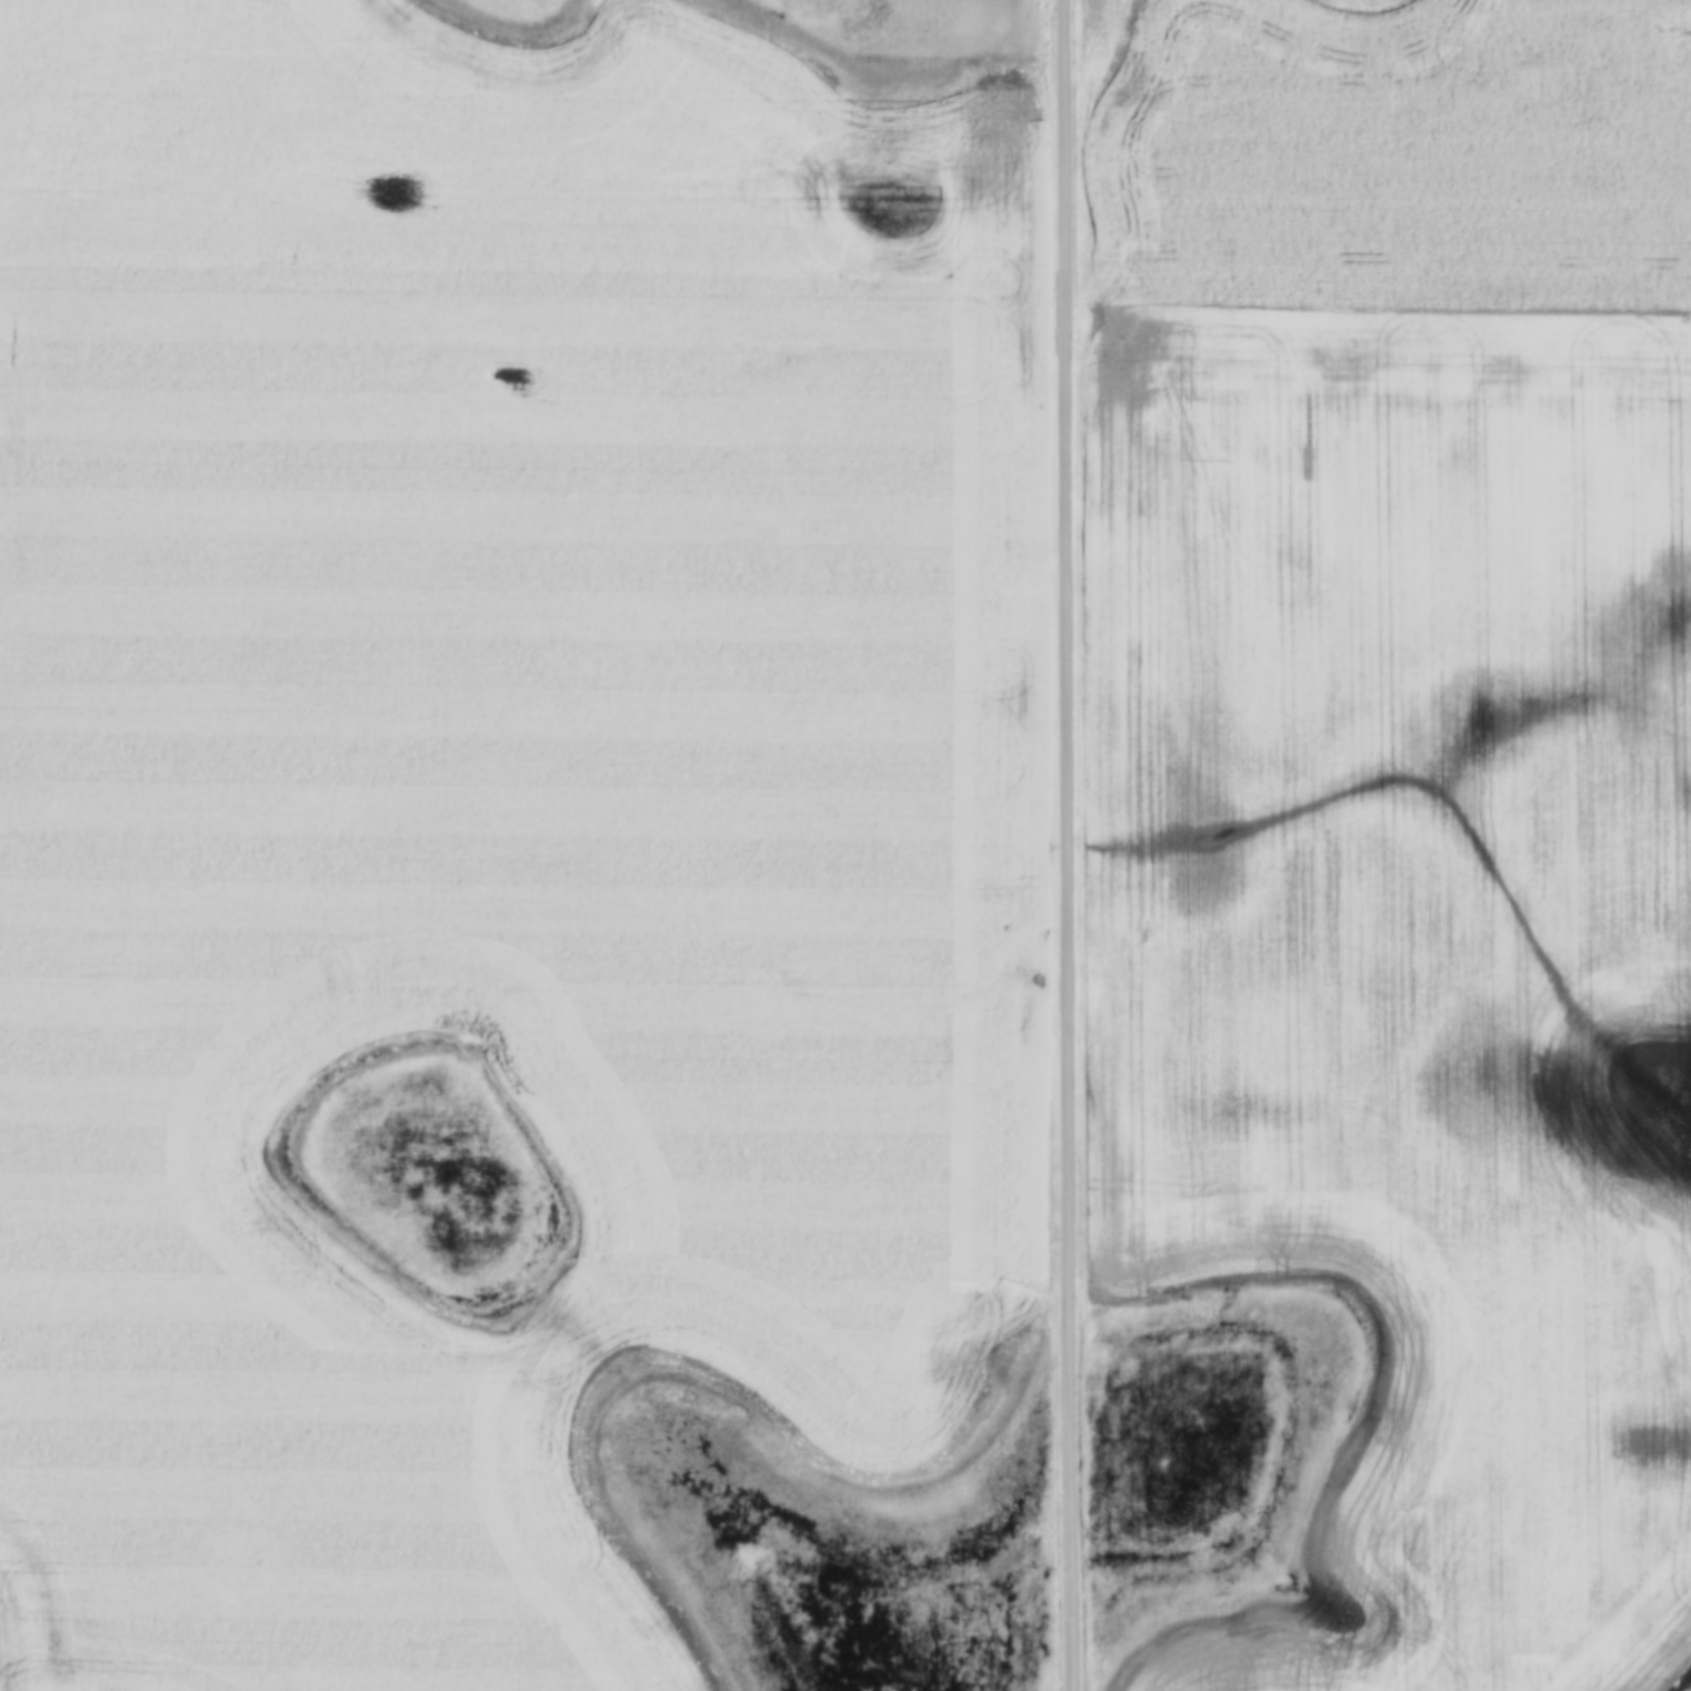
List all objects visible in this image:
road: (1069, 845)

